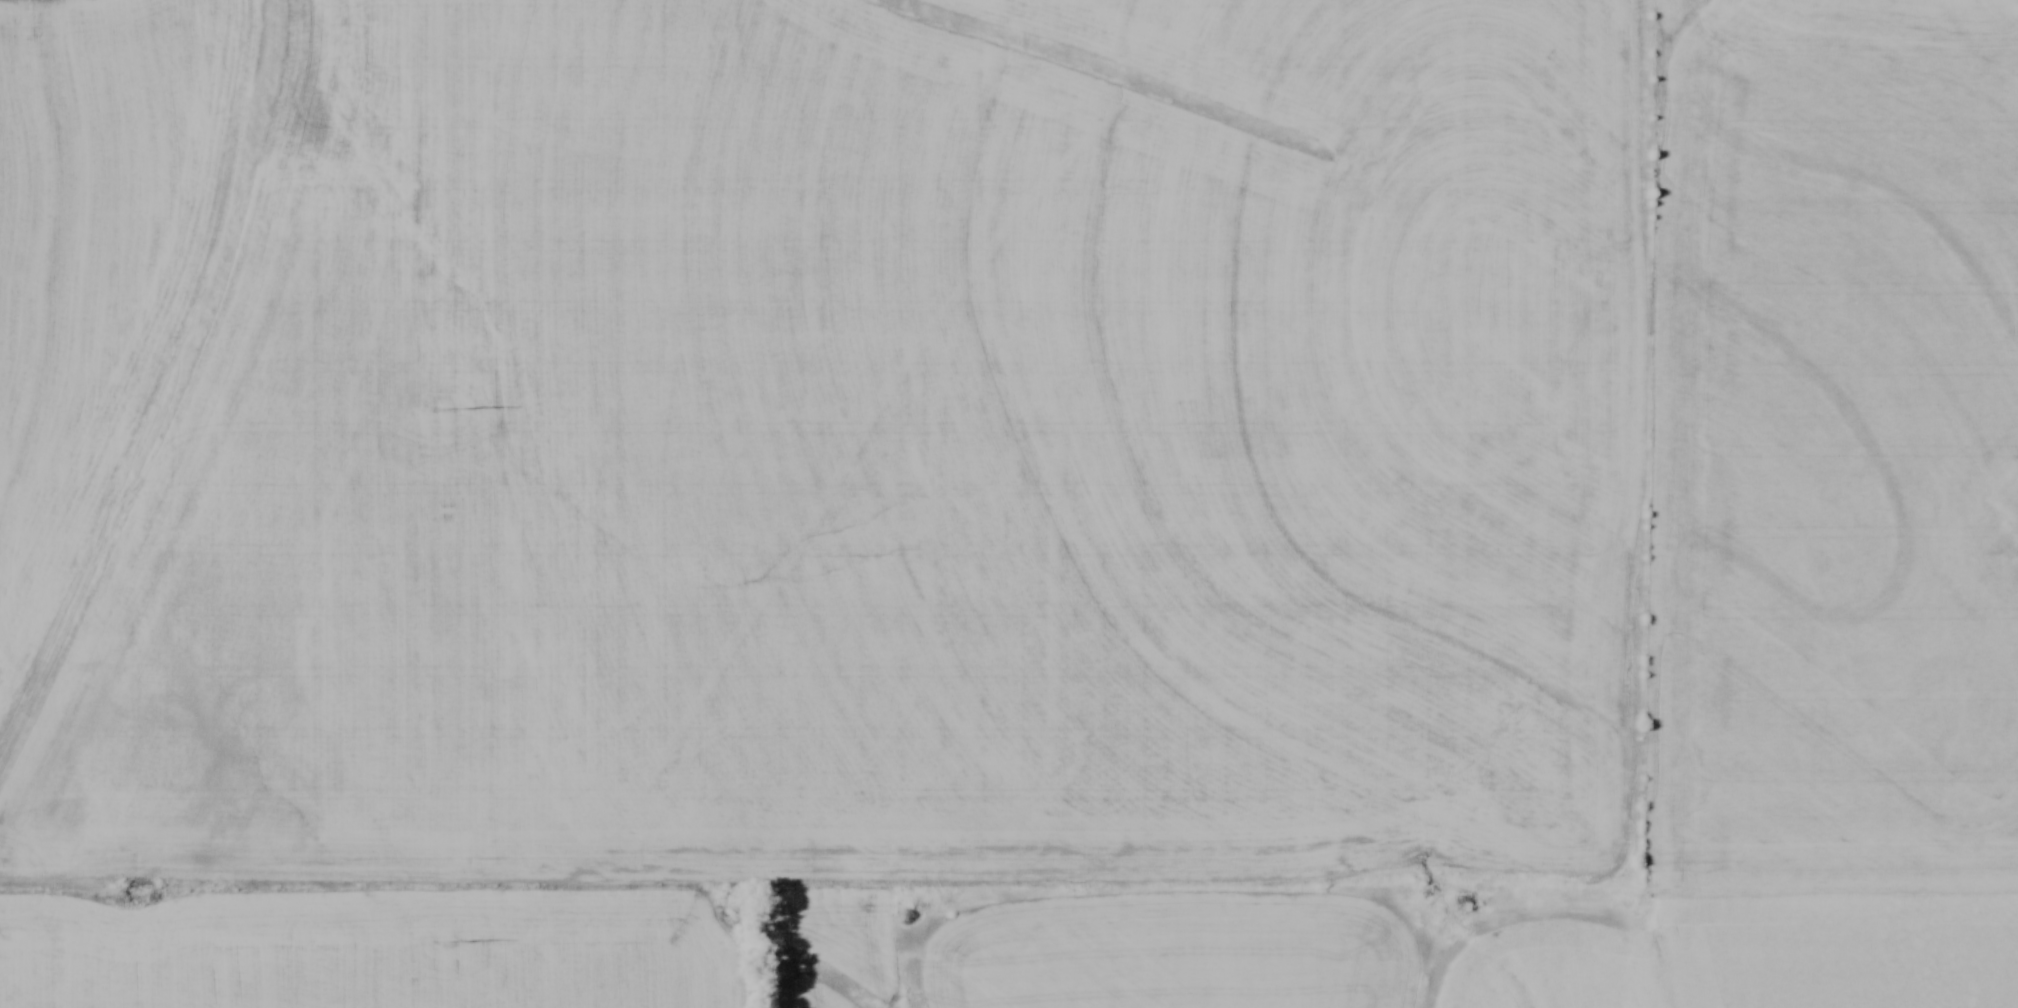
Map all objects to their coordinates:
power tower: (448, 407)
power tower: (449, 940)

